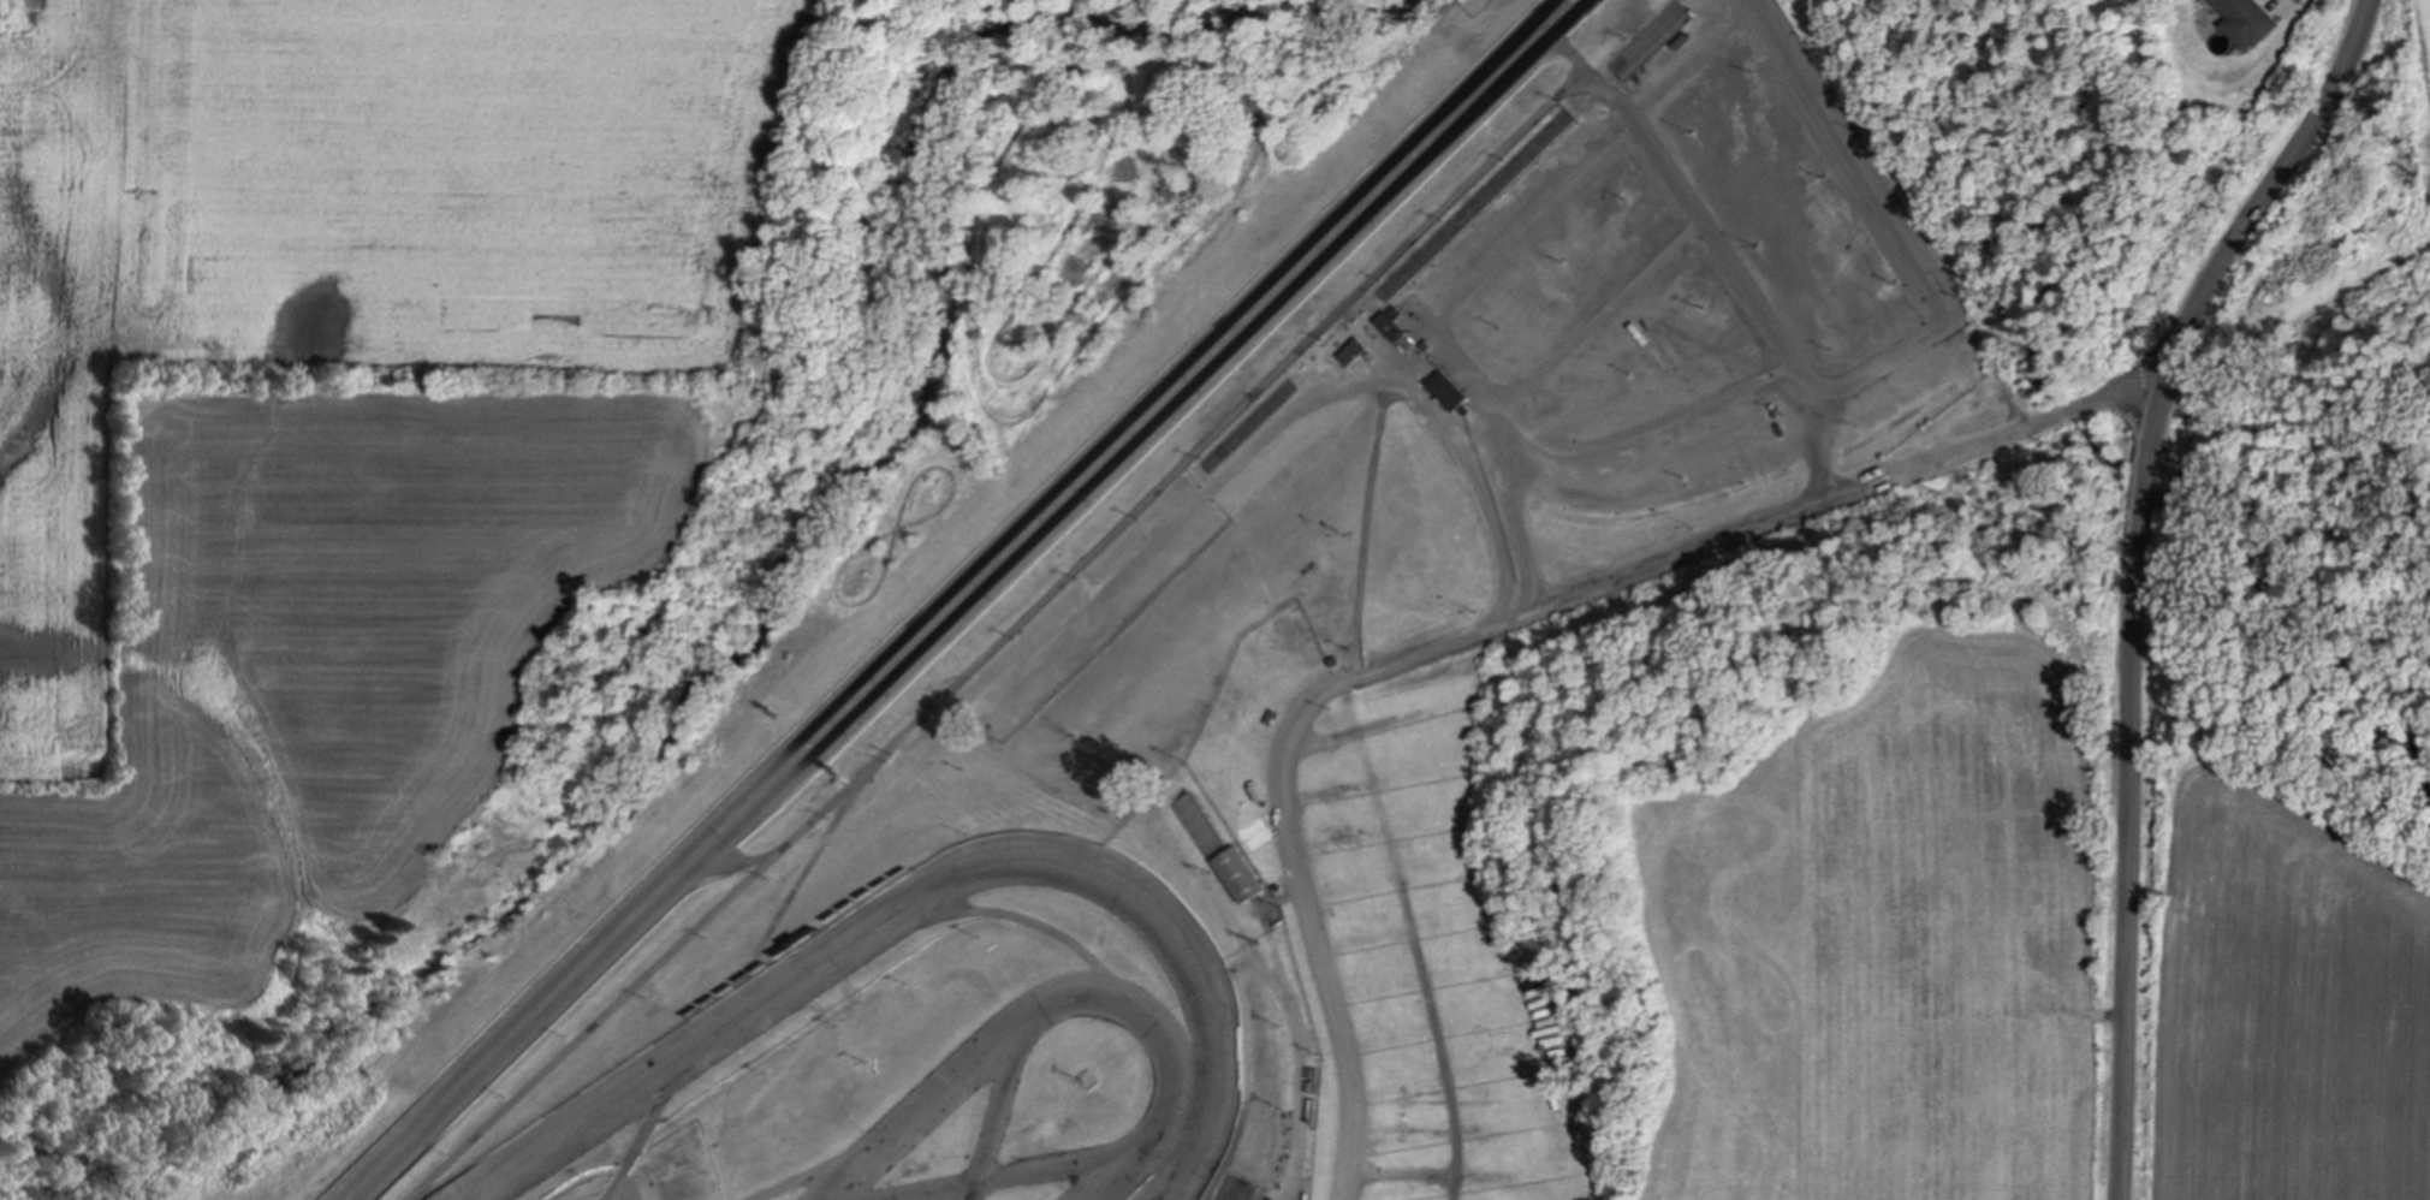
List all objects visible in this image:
building: (1688, 0)
building: (2246, 24)
building: (1676, 46)
road: (1564, 49)
road: (1848, 162)
parking lot: (1685, 290)
building: (1394, 328)
building: (1426, 346)
building: (1351, 351)
raceway: (1176, 369)
raceway: (1201, 376)
road: (1384, 386)
building: (1446, 391)
building: (1466, 411)
road: (2133, 571)
road: (1486, 623)
building: (1336, 654)
stadium: (1159, 663)
building: (1640, 832)
road: (741, 862)
building: (1242, 867)
road: (797, 877)
raceway: (933, 890)
road: (1020, 921)
building: (1517, 943)
parking lot: (1412, 945)
road: (653, 966)
raceway: (564, 969)
raceway: (587, 976)
raceway: (1145, 1018)
building: (1315, 1076)
road: (653, 1110)
raceway: (920, 1110)
raceway: (993, 1111)
road: (804, 1174)
raceway: (1005, 1174)
raceway: (1117, 1175)

